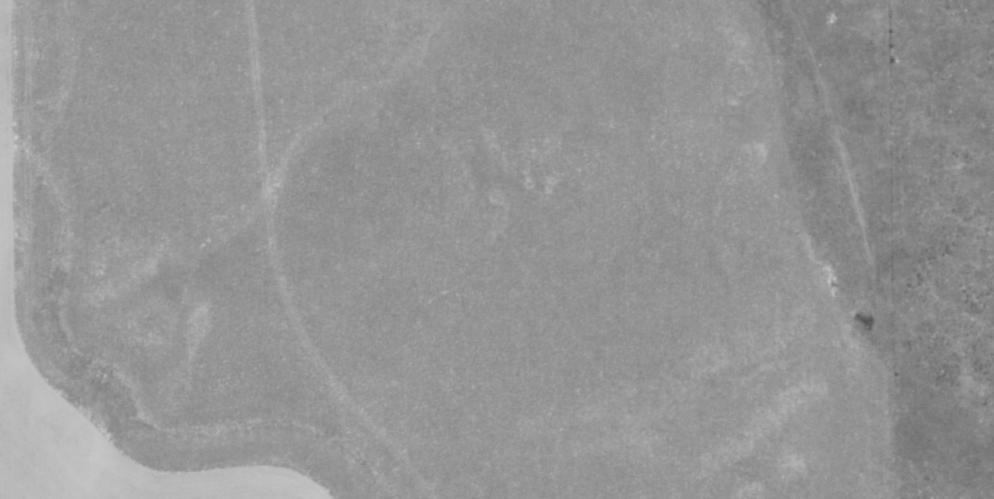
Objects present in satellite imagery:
crop: (447, 249)

